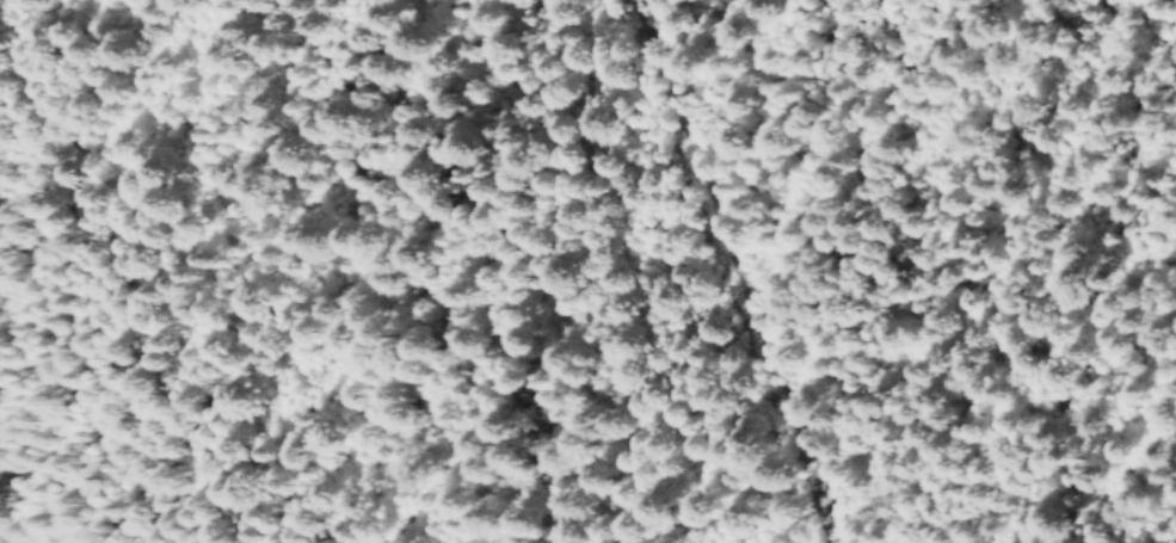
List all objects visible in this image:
road: (731, 270)

